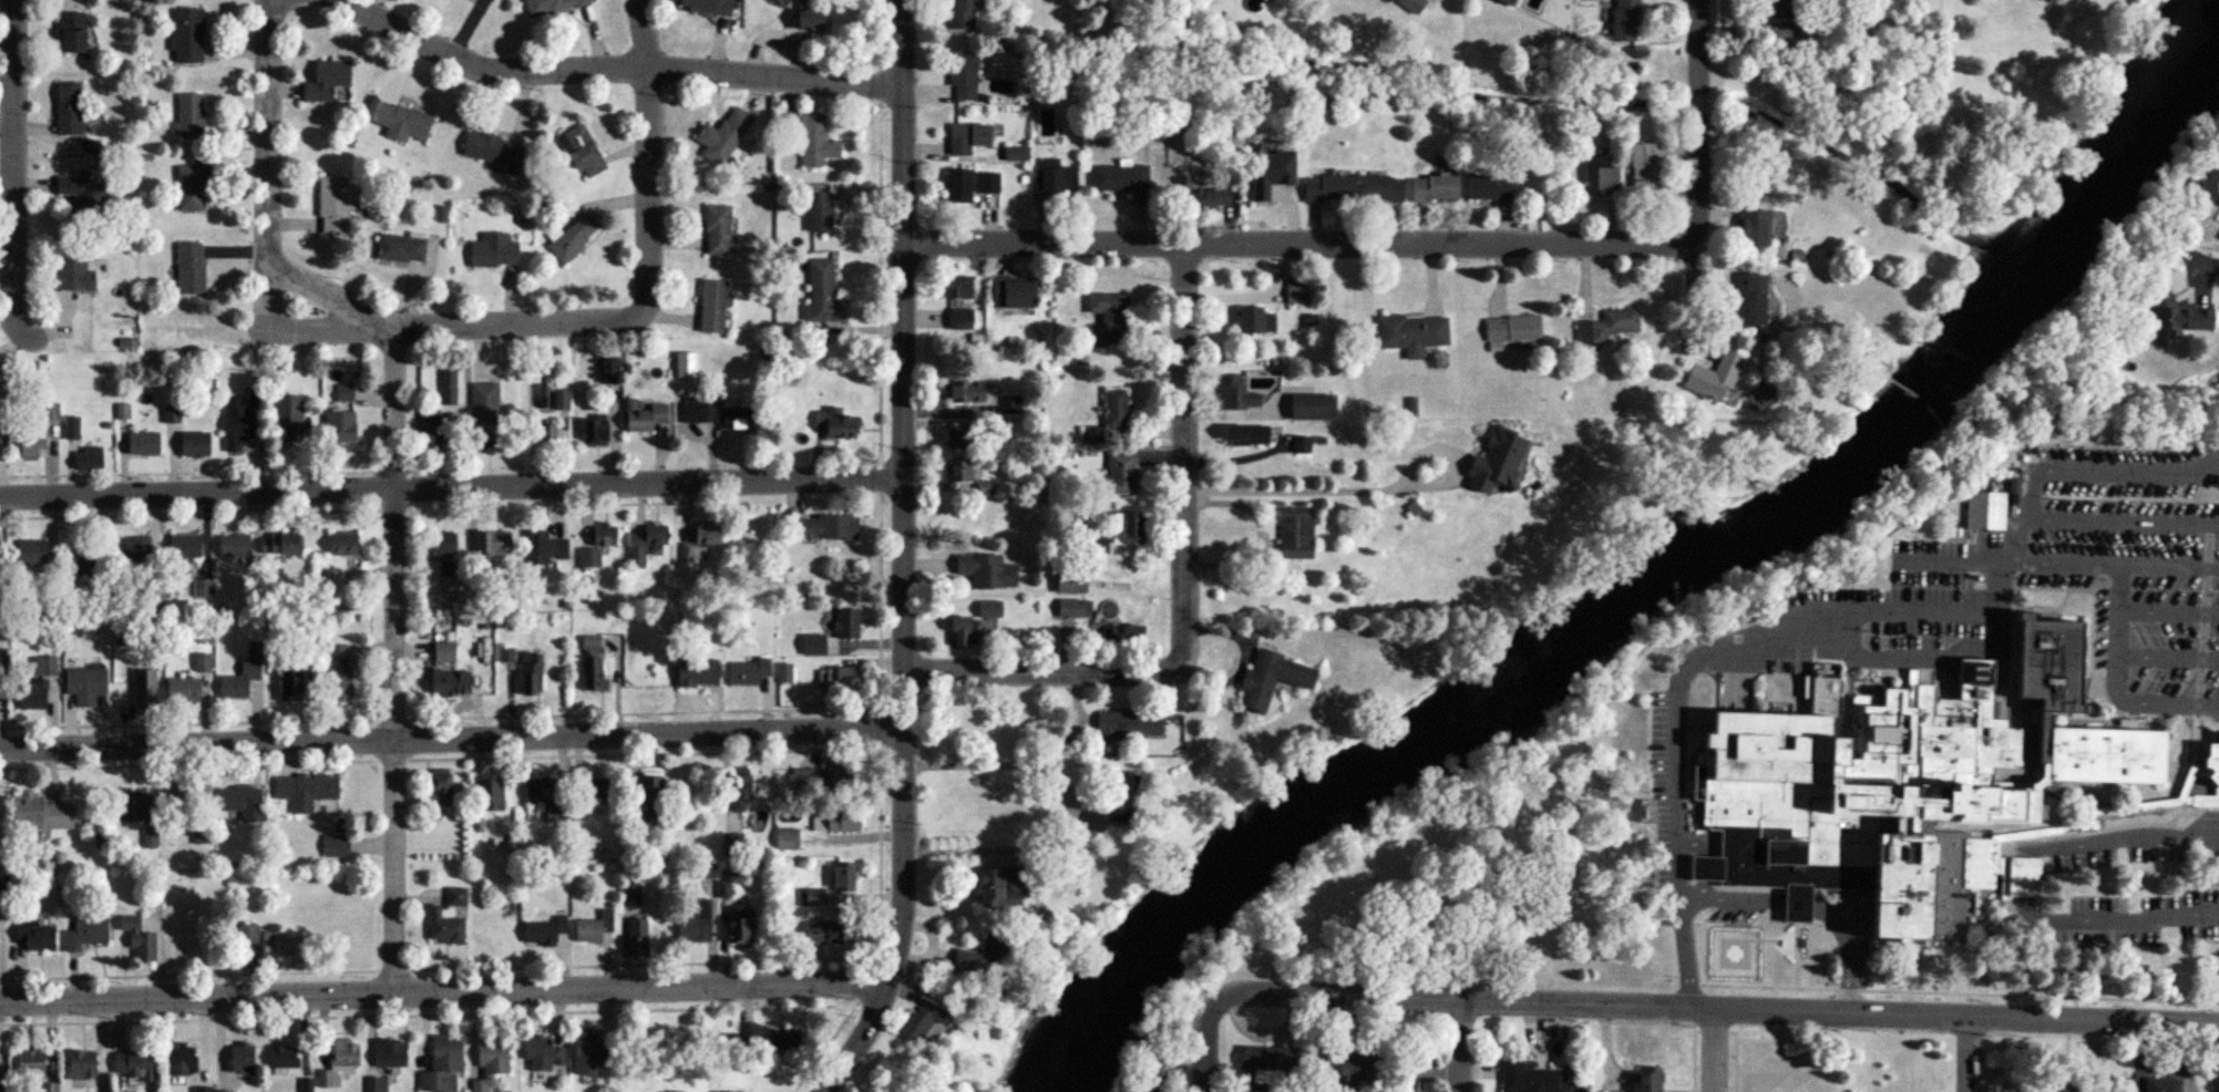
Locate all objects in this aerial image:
building: (490, 0)
building: (1973, 0)
building: (1504, 2)
building: (1409, 4)
building: (703, 6)
building: (551, 7)
building: (1795, 7)
building: (960, 14)
building: (809, 19)
building: (1624, 20)
building: (69, 32)
building: (186, 34)
road: (618, 69)
building: (963, 74)
building: (323, 81)
building: (68, 109)
building: (189, 115)
building: (397, 122)
road: (1705, 126)
building: (721, 136)
building: (810, 136)
building: (967, 138)
road: (654, 147)
building: (491, 150)
building: (579, 152)
road: (273, 165)
building: (1642, 171)
building: (1268, 172)
road: (17, 174)
building: (1600, 177)
building: (1119, 178)
building: (1056, 182)
building: (969, 185)
building: (189, 188)
building: (1326, 188)
building: (1379, 188)
building: (1434, 188)
building: (1488, 188)
building: (82, 193)
building: (1201, 197)
building: (333, 206)
building: (818, 212)
building: (1758, 228)
building: (717, 230)
building: (574, 238)
road: (1291, 243)
building: (400, 248)
building: (493, 251)
road: (2208, 267)
building: (189, 268)
building: (71, 271)
building: (956, 287)
building: (1013, 292)
building: (822, 293)
building: (1297, 293)
road: (335, 296)
building: (1748, 300)
building: (712, 307)
building: (2180, 316)
building: (1106, 317)
building: (960, 319)
building: (1607, 326)
road: (466, 327)
building: (1512, 329)
building: (1411, 333)
building: (608, 370)
building: (1712, 378)
building: (451, 390)
building: (964, 391)
building: (1236, 393)
building: (1312, 408)
building: (1116, 409)
building: (485, 413)
building: (720, 413)
building: (645, 416)
building: (288, 418)
building: (237, 424)
building: (835, 424)
building: (339, 425)
building: (71, 429)
building: (593, 431)
building: (428, 434)
building: (1244, 435)
building: (541, 436)
building: (958, 439)
building: (143, 444)
building: (194, 444)
building: (1302, 445)
building: (31, 447)
building: (88, 459)
building: (1493, 462)
building: (957, 471)
building: (1122, 473)
road: (2034, 484)
road: (455, 486)
building: (985, 487)
road: (1357, 495)
building: (1985, 512)
road: (2119, 518)
building: (828, 527)
building: (1127, 529)
building: (1295, 534)
building: (602, 539)
building: (701, 539)
road: (1259, 542)
building: (442, 544)
building: (492, 544)
building: (284, 545)
building: (342, 545)
building: (234, 546)
building: (644, 546)
building: (1099, 546)
building: (537, 549)
building: (133, 550)
building: (182, 553)
building: (30, 554)
building: (80, 556)
road: (910, 556)
road: (2169, 567)
building: (986, 571)
building: (332, 577)
building: (1071, 580)
river: (1663, 583)
road: (2002, 585)
road: (1189, 590)
building: (989, 609)
road: (2169, 610)
building: (1073, 612)
road: (2119, 622)
building: (846, 625)
building: (962, 631)
building: (1124, 636)
building: (813, 646)
road: (1907, 651)
building: (444, 652)
road: (2169, 657)
road: (401, 660)
building: (592, 663)
building: (43, 666)
road: (1240, 667)
building: (338, 672)
building: (747, 672)
road: (1682, 672)
building: (698, 673)
building: (785, 673)
building: (531, 674)
building: (838, 678)
building: (1268, 680)
building: (242, 682)
building: (442, 683)
building: (84, 686)
building: (290, 686)
building: (144, 690)
building: (182, 692)
building: (0, 693)
building: (31, 694)
building: (1124, 725)
road: (453, 738)
building: (2211, 755)
building: (839, 770)
road: (996, 771)
building: (802, 779)
building: (1912, 783)
building: (440, 789)
building: (306, 791)
building: (541, 792)
building: (593, 793)
building: (491, 795)
building: (649, 797)
building: (238, 799)
building: (1109, 803)
building: (133, 807)
building: (38, 813)
building: (839, 822)
road: (2122, 835)
building: (150, 837)
building: (787, 839)
building: (732, 843)
building: (335, 846)
road: (2025, 874)
building: (842, 876)
building: (2021, 876)
building: (992, 884)
building: (630, 892)
building: (812, 896)
road: (1732, 898)
road: (1797, 903)
building: (446, 919)
road: (2116, 919)
building: (695, 923)
building: (739, 924)
building: (593, 926)
building: (543, 929)
building: (830, 930)
building: (84, 931)
building: (247, 934)
building: (636, 935)
building: (39, 936)
building: (136, 936)
building: (276, 944)
road: (1848, 949)
helipad: (1734, 951)
building: (978, 956)
road: (449, 990)
road: (1729, 1007)
building: (920, 1023)
building: (768, 1037)
road: (1214, 1037)
road: (1359, 1041)
road: (1468, 1045)
road: (1712, 1049)
building: (389, 1052)
building: (542, 1053)
road: (1969, 1053)
building: (586, 1054)
building: (239, 1057)
building: (282, 1057)
building: (181, 1059)
building: (489, 1061)
building: (31, 1062)
building: (80, 1062)
building: (339, 1062)
building: (133, 1063)
building: (1263, 1063)
building: (441, 1064)
building: (1346, 1069)
building: (1532, 1079)
building: (1647, 1080)
building: (2163, 1084)
building: (49, 1088)
building: (2072, 1088)
building: (223, 1091)
building: (733, 1091)

